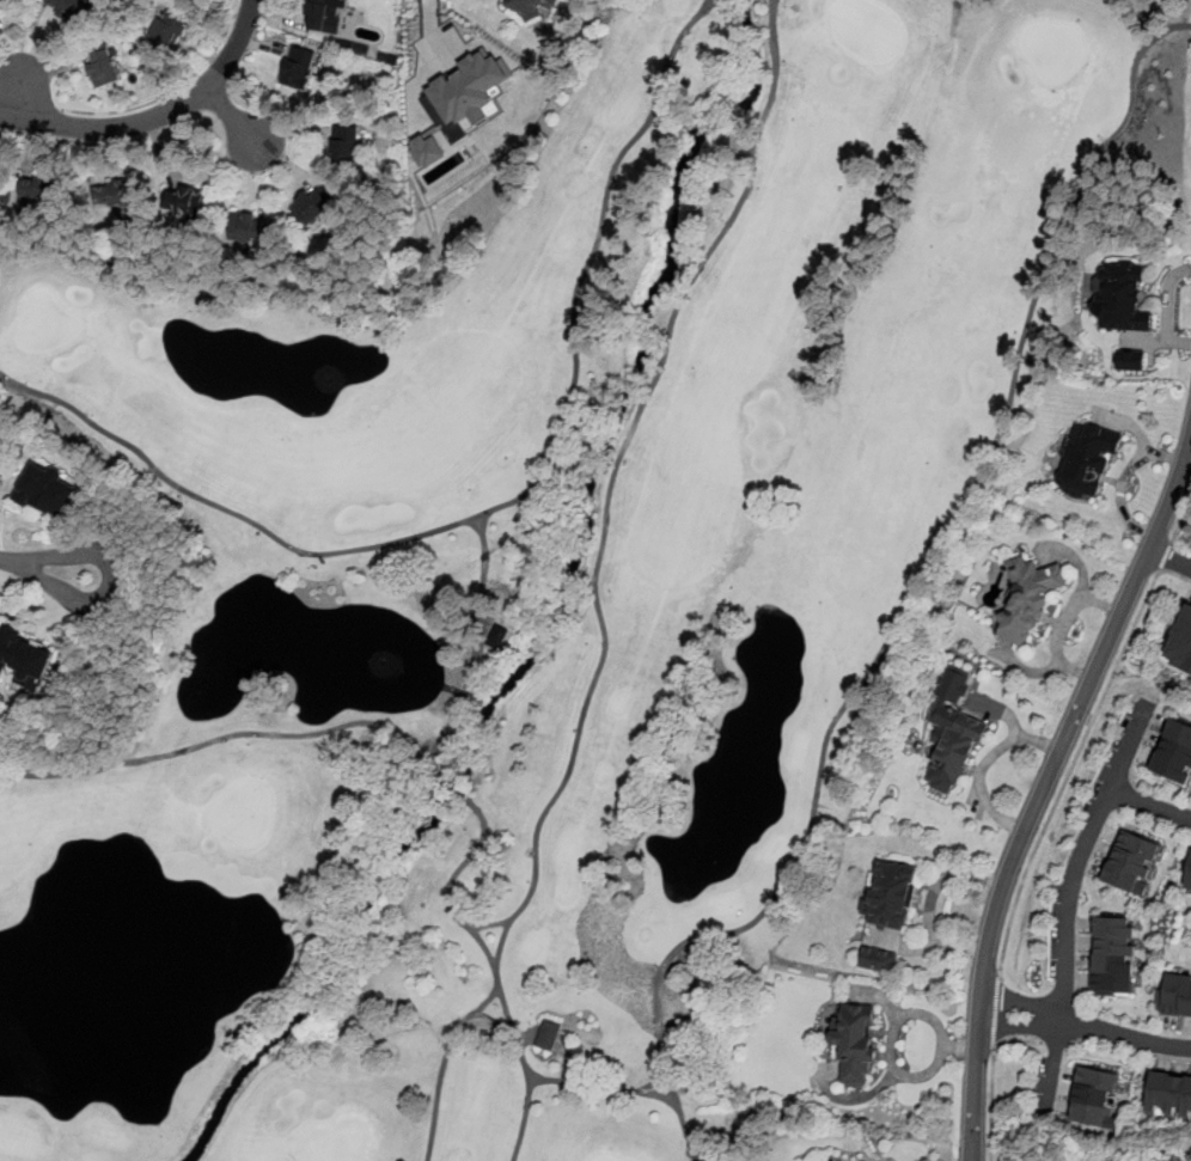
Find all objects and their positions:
building: (5, 2)
building: (532, 6)
building: (69, 8)
building: (326, 16)
building: (171, 25)
river: (744, 28)
road: (234, 48)
road: (427, 62)
building: (103, 67)
building: (299, 68)
road: (477, 68)
road: (172, 91)
road: (31, 104)
building: (460, 118)
road: (234, 121)
road: (108, 127)
building: (344, 146)
building: (429, 149)
building: (37, 187)
building: (115, 194)
building: (185, 202)
building: (312, 207)
building: (249, 227)
building: (1123, 299)
building: (1130, 359)
building: (1088, 460)
building: (54, 489)
road: (505, 505)
road: (1180, 518)
road: (600, 550)
road: (1165, 556)
road: (1169, 556)
road: (921, 578)
road: (111, 579)
park: (536, 593)
building: (1026, 603)
building: (1181, 643)
building: (25, 654)
building: (953, 731)
road: (227, 737)
road: (1126, 748)
building: (1175, 754)
road: (1070, 770)
road: (453, 786)
road: (1044, 790)
road: (1149, 805)
building: (1134, 864)
building: (1189, 878)
building: (891, 896)
road: (1068, 902)
building: (1114, 957)
building: (879, 960)
building: (1174, 995)
road: (501, 997)
road: (996, 1010)
road: (493, 1021)
road: (893, 1023)
road: (1087, 1025)
road: (453, 1033)
building: (548, 1034)
road: (1016, 1040)
building: (854, 1041)
road: (631, 1090)
building: (1169, 1095)
building: (1095, 1096)
road: (991, 1102)
road: (524, 1117)

